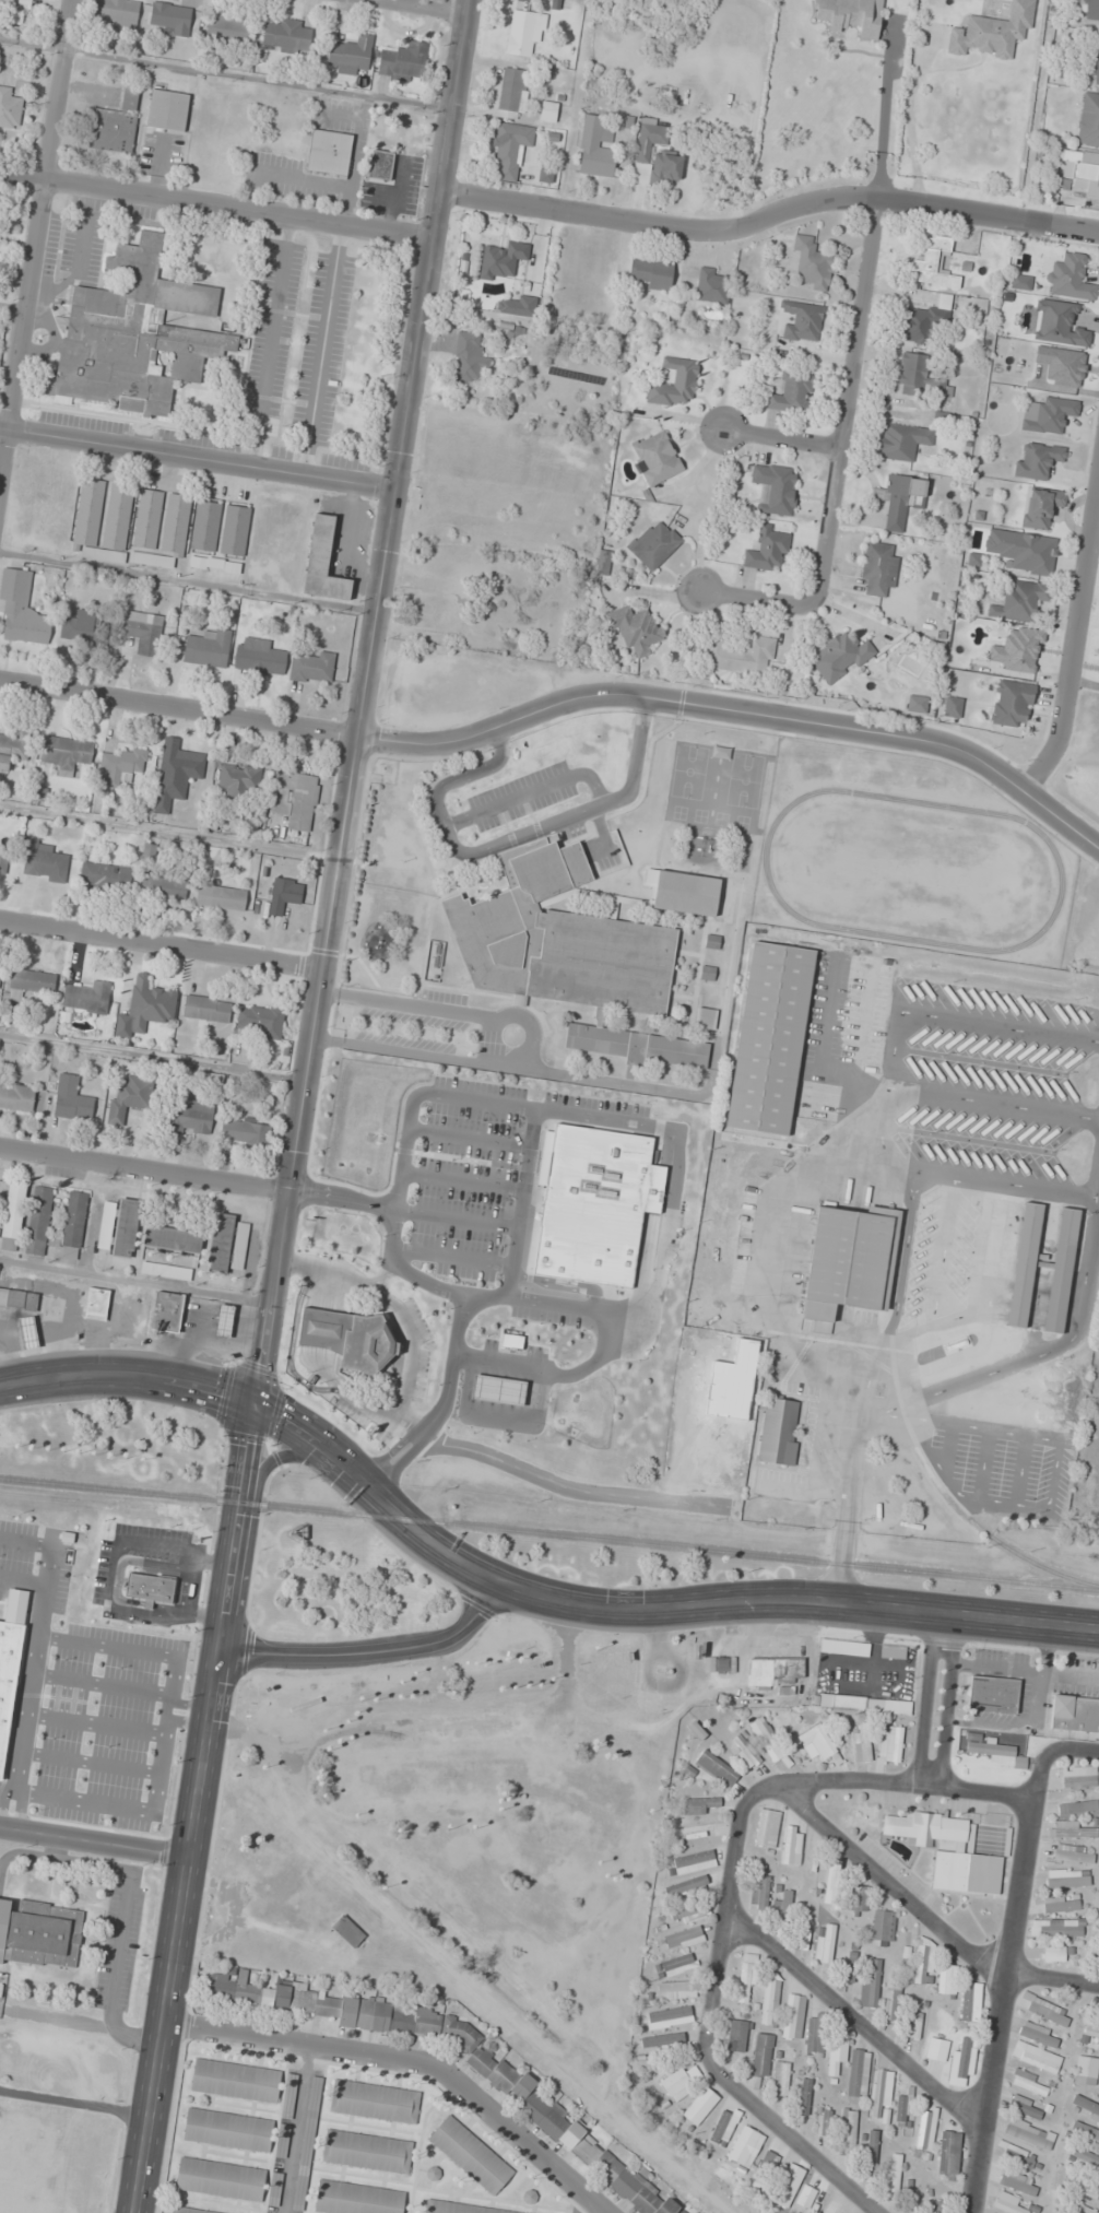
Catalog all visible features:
building: (38, 0)
road: (419, 8)
building: (1089, 10)
building: (115, 14)
building: (850, 15)
building: (169, 19)
building: (227, 27)
building: (524, 32)
building: (286, 35)
building: (985, 36)
building: (351, 54)
building: (403, 61)
building: (1092, 64)
building: (512, 93)
building: (9, 108)
building: (167, 110)
building: (548, 111)
building: (1088, 120)
building: (115, 125)
building: (510, 148)
building: (595, 148)
building: (329, 152)
building: (654, 155)
building: (381, 164)
building: (1082, 175)
road: (220, 205)
road: (771, 223)
road: (37, 239)
building: (500, 261)
building: (813, 262)
building: (935, 263)
building: (652, 272)
building: (1070, 278)
building: (712, 285)
building: (924, 319)
building: (802, 320)
building: (134, 336)
building: (470, 357)
building: (912, 374)
building: (674, 382)
building: (941, 390)
building: (792, 393)
building: (1048, 414)
building: (901, 440)
road: (784, 446)
building: (655, 458)
building: (1037, 460)
road: (200, 461)
road: (842, 462)
building: (776, 487)
building: (900, 498)
building: (1041, 506)
building: (87, 516)
building: (147, 518)
building: (176, 525)
building: (205, 526)
building: (234, 529)
building: (654, 544)
building: (769, 548)
building: (1023, 551)
building: (151, 558)
building: (603, 561)
building: (323, 562)
building: (878, 568)
building: (1020, 601)
building: (22, 610)
building: (84, 627)
building: (635, 628)
building: (143, 631)
building: (208, 648)
road: (1074, 651)
building: (841, 654)
building: (742, 656)
building: (259, 657)
building: (312, 668)
building: (1012, 702)
building: (917, 703)
road: (364, 704)
building: (953, 706)
road: (179, 709)
road: (740, 714)
building: (13, 746)
building: (67, 753)
building: (122, 765)
building: (177, 772)
building: (238, 779)
building: (295, 798)
building: (231, 820)
building: (4, 857)
building: (44, 861)
building: (243, 869)
building: (105, 875)
building: (164, 886)
building: (683, 891)
building: (284, 895)
building: (221, 897)
road: (164, 944)
building: (570, 954)
building: (0, 969)
building: (29, 982)
building: (87, 998)
building: (145, 1007)
building: (208, 1009)
building: (706, 1017)
building: (261, 1021)
building: (771, 1040)
building: (16, 1095)
building: (130, 1096)
building: (72, 1098)
building: (191, 1118)
building: (245, 1131)
road: (144, 1177)
building: (592, 1204)
building: (13, 1215)
building: (39, 1220)
building: (73, 1225)
building: (119, 1227)
building: (173, 1239)
building: (228, 1245)
building: (842, 1262)
building: (1024, 1264)
building: (166, 1270)
building: (1061, 1270)
road: (135, 1283)
building: (19, 1298)
building: (97, 1303)
building: (164, 1313)
building: (222, 1321)
building: (28, 1332)
building: (348, 1339)
building: (511, 1341)
road: (129, 1377)
building: (498, 1390)
traffic signals: (255, 1409)
building: (779, 1432)
road: (281, 1456)
railway: (549, 1532)
building: (151, 1588)
road: (648, 1608)
road: (374, 1651)
building: (893, 1651)
building: (723, 1664)
building: (772, 1671)
building: (9, 1680)
building: (993, 1694)
road: (922, 1699)
building: (849, 1702)
road: (945, 1702)
building: (897, 1704)
building: (1075, 1712)
building: (764, 1732)
building: (817, 1741)
building: (861, 1742)
building: (890, 1744)
building: (990, 1750)
building: (744, 1751)
road: (1049, 1751)
building: (716, 1768)
building: (1076, 1777)
road: (864, 1782)
road: (985, 1792)
building: (699, 1805)
building: (1077, 1808)
road: (194, 1811)
building: (767, 1827)
building: (1070, 1829)
building: (695, 1831)
road: (94, 1841)
building: (792, 1846)
building: (949, 1853)
building: (1073, 1853)
building: (694, 1861)
building: (1067, 1879)
building: (831, 1884)
building: (688, 1886)
building: (759, 1892)
building: (860, 1899)
building: (1060, 1904)
building: (781, 1905)
building: (688, 1914)
road: (925, 1915)
building: (882, 1928)
building: (1055, 1928)
building: (347, 1932)
building: (39, 1933)
building: (684, 1939)
building: (824, 1943)
building: (1095, 1950)
building: (1055, 1954)
building: (922, 1961)
building: (850, 1962)
building: (675, 1965)
building: (746, 1977)
building: (946, 1979)
building: (870, 1982)
building: (229, 1988)
building: (676, 1989)
building: (770, 1999)
building: (893, 2002)
road: (1001, 2005)
building: (970, 2006)
building: (1094, 2008)
building: (355, 2011)
building: (1048, 2012)
building: (793, 2016)
building: (669, 2017)
road: (706, 2017)
road: (852, 2018)
building: (914, 2026)
building: (734, 2035)
building: (1038, 2035)
building: (1092, 2036)
building: (663, 2040)
building: (814, 2040)
building: (837, 2052)
building: (760, 2055)
building: (966, 2058)
building: (1040, 2059)
road: (410, 2060)
building: (1085, 2070)
building: (858, 2073)
building: (780, 2079)
building: (234, 2080)
building: (677, 2084)
building: (1030, 2085)
building: (879, 2094)
building: (288, 2095)
building: (804, 2097)
building: (371, 2100)
building: (700, 2105)
building: (1025, 2106)
building: (1085, 2106)
building: (902, 2108)
building: (558, 2123)
building: (724, 2126)
building: (823, 2127)
road: (294, 2129)
building: (925, 2129)
building: (227, 2130)
building: (848, 2132)
building: (1028, 2133)
building: (282, 2141)
building: (307, 2143)
building: (744, 2147)
building: (871, 2150)
building: (366, 2151)
building: (948, 2155)
building: (469, 2156)
building: (1017, 2156)
building: (1085, 2161)
building: (766, 2167)
building: (893, 2176)
building: (220, 2179)
building: (1018, 2182)
building: (788, 2186)
building: (274, 2189)
building: (1087, 2190)
building: (805, 2196)
building: (353, 2199)
building: (1007, 2203)
building: (457, 2208)
road: (595, 2210)
building: (1083, 2210)
building: (186, 2211)
building: (828, 2211)

